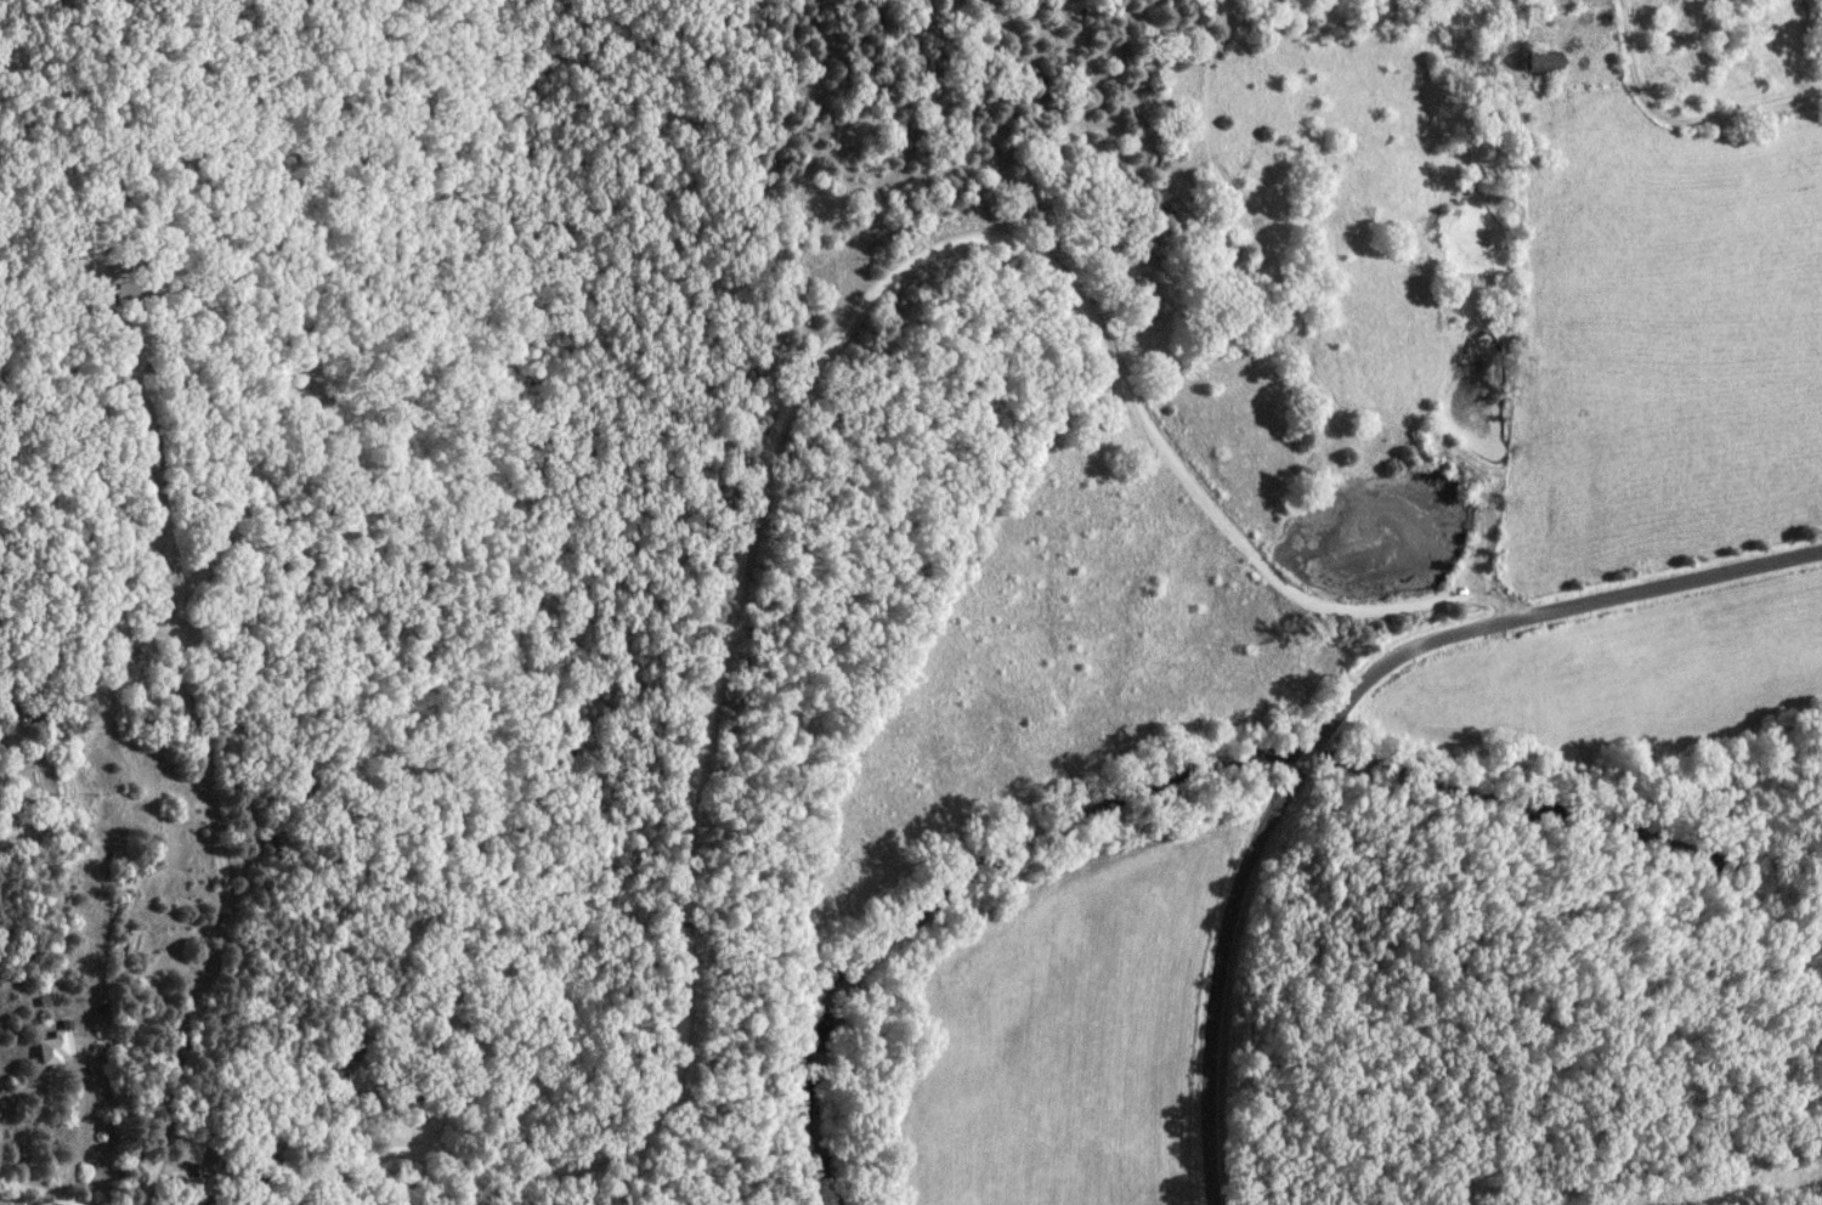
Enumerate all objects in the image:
building: (1551, 62)
road: (1679, 121)
road: (77, 327)
road: (763, 476)
road: (217, 480)
building: (344, 504)
road: (1670, 582)
road: (1390, 662)
building: (125, 663)
road: (10, 709)
building: (0, 797)
road: (230, 873)
road: (1221, 977)
building: (61, 1048)
building: (350, 1062)
road: (83, 1124)
building: (194, 1154)
road: (45, 1189)

